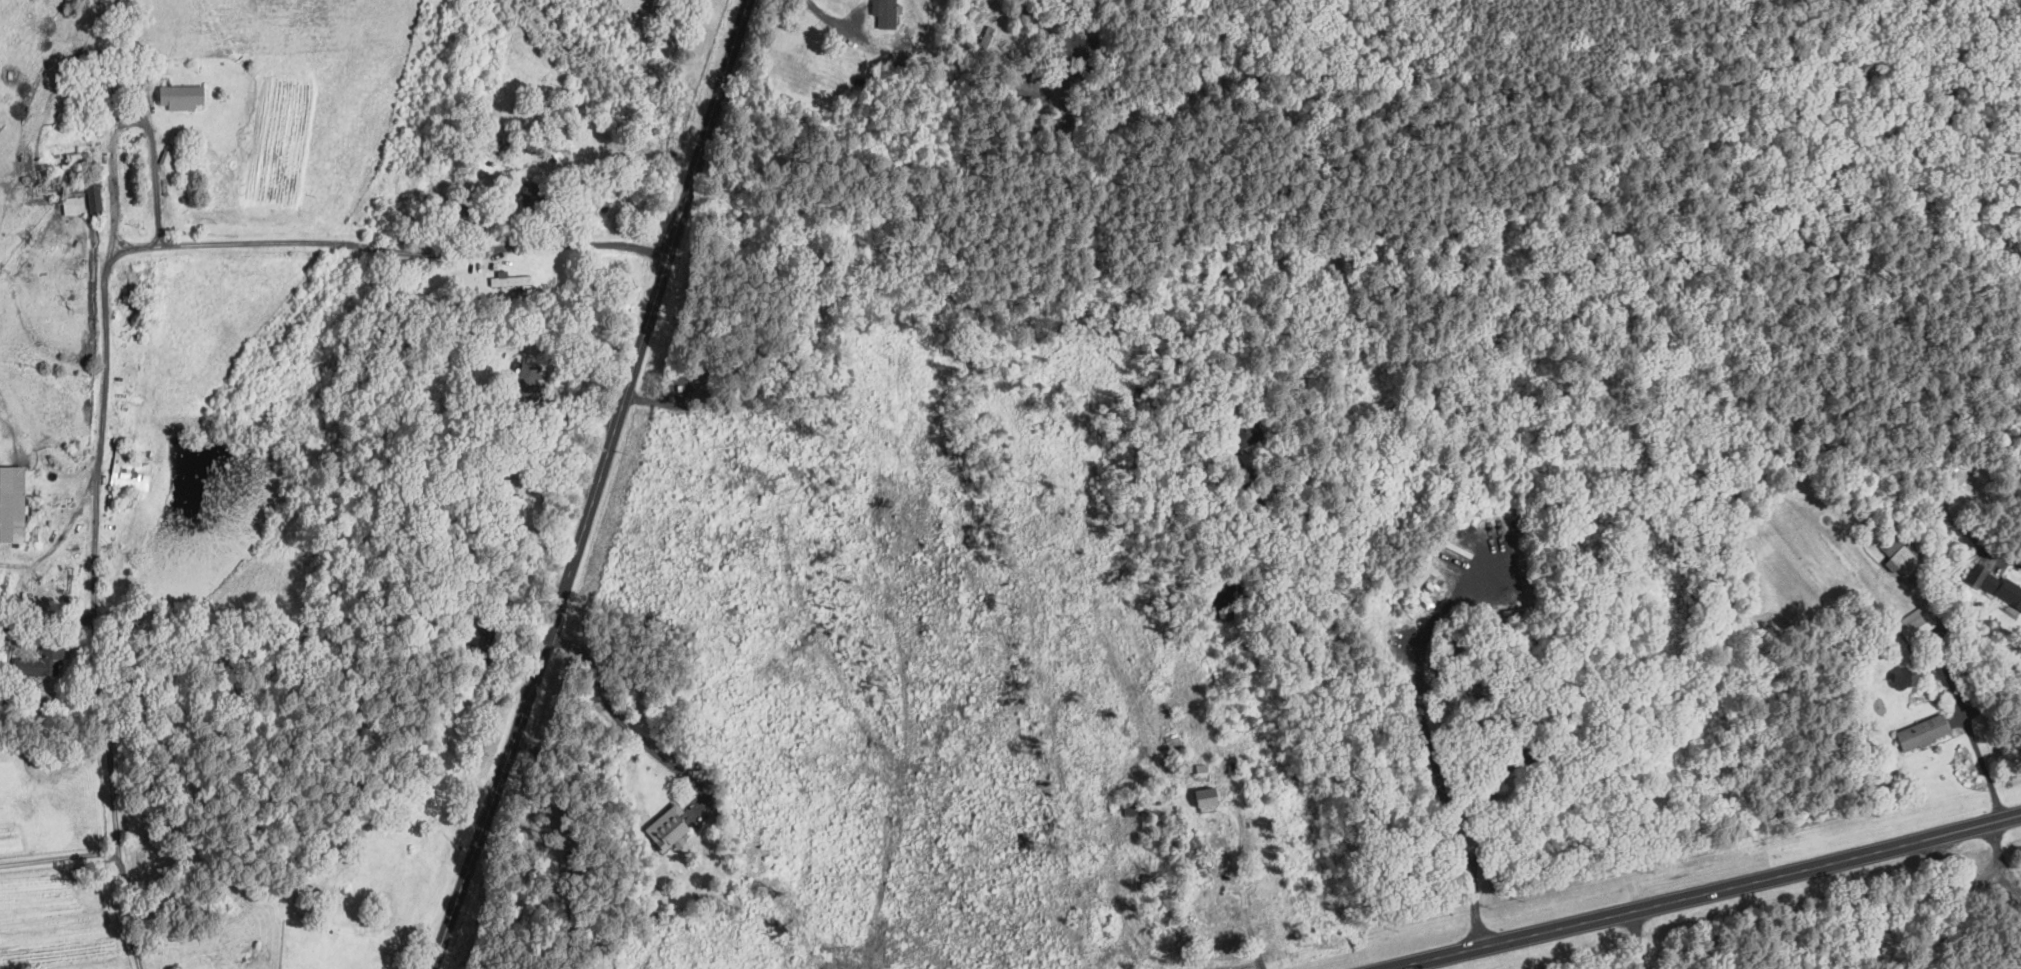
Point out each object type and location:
building: (887, 12)
road: (835, 19)
building: (182, 95)
road: (128, 121)
building: (95, 196)
building: (74, 204)
building: (510, 278)
road: (106, 332)
building: (132, 468)
road: (594, 486)
building: (12, 502)
road: (1272, 516)
road: (1956, 523)
building: (1461, 550)
building: (1901, 557)
building: (1979, 574)
building: (1423, 576)
building: (2004, 589)
building: (1917, 622)
road: (1430, 640)
road: (1939, 658)
building: (40, 662)
road: (620, 720)
road: (1413, 722)
building: (1924, 732)
road: (1496, 753)
building: (1203, 771)
building: (1207, 797)
building: (1133, 809)
building: (670, 827)
road: (60, 857)
road: (2004, 878)
road: (1697, 890)
road: (1959, 894)
road: (1244, 898)

